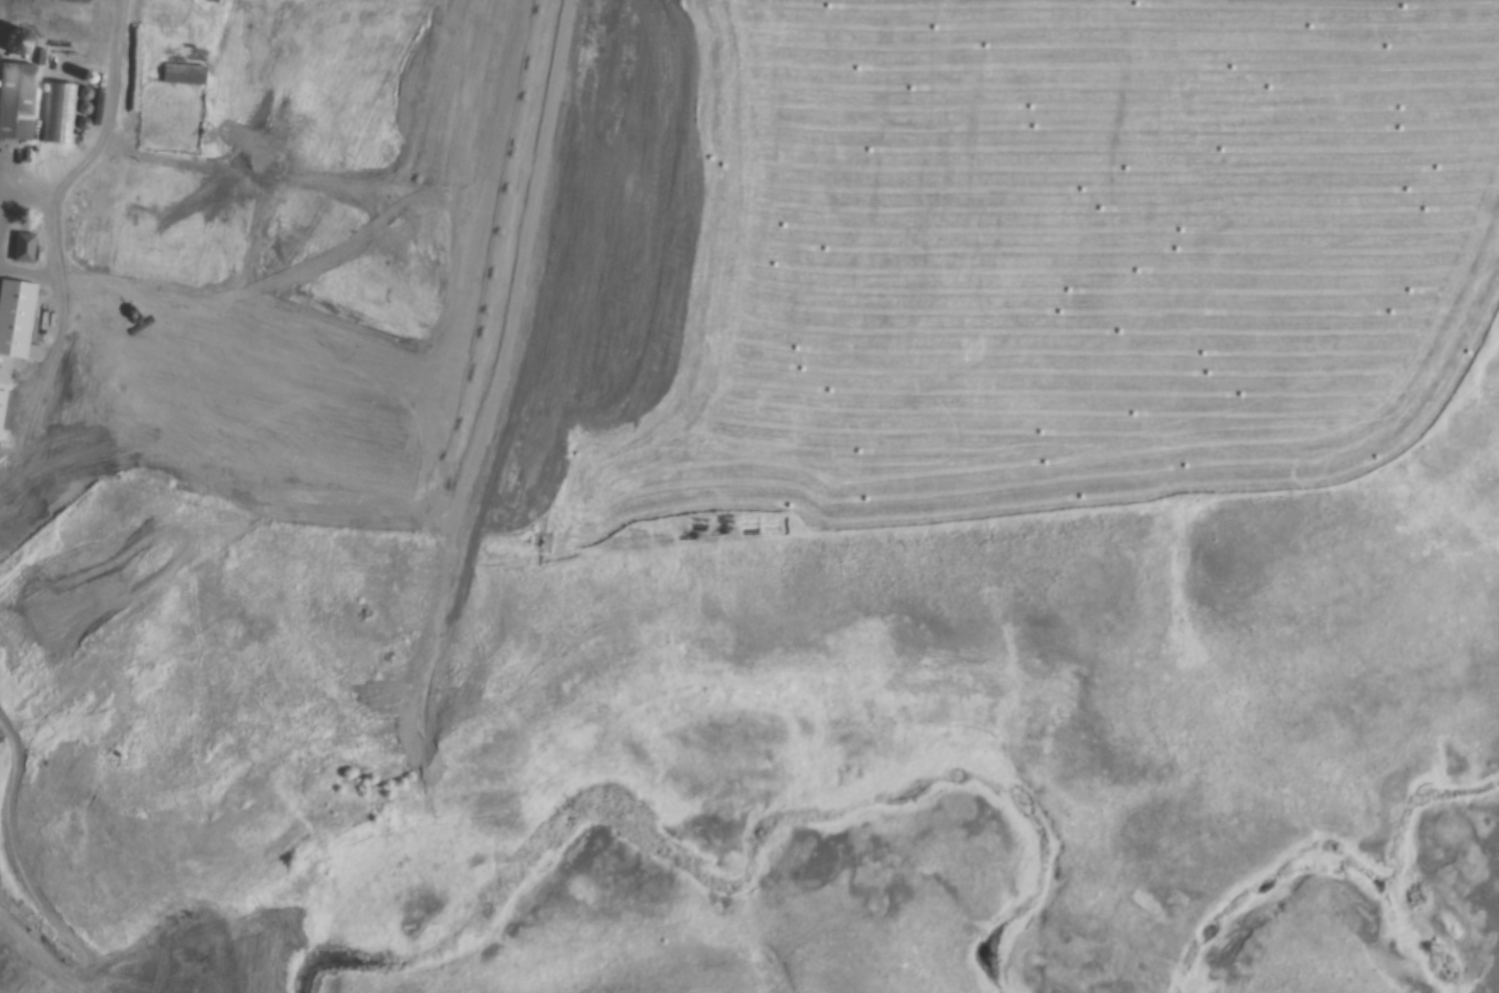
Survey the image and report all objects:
road: (59, 32)
building: (184, 74)
building: (17, 100)
road: (104, 125)
road: (625, 184)
building: (24, 247)
building: (186, 271)
building: (15, 327)
dam: (6, 943)

